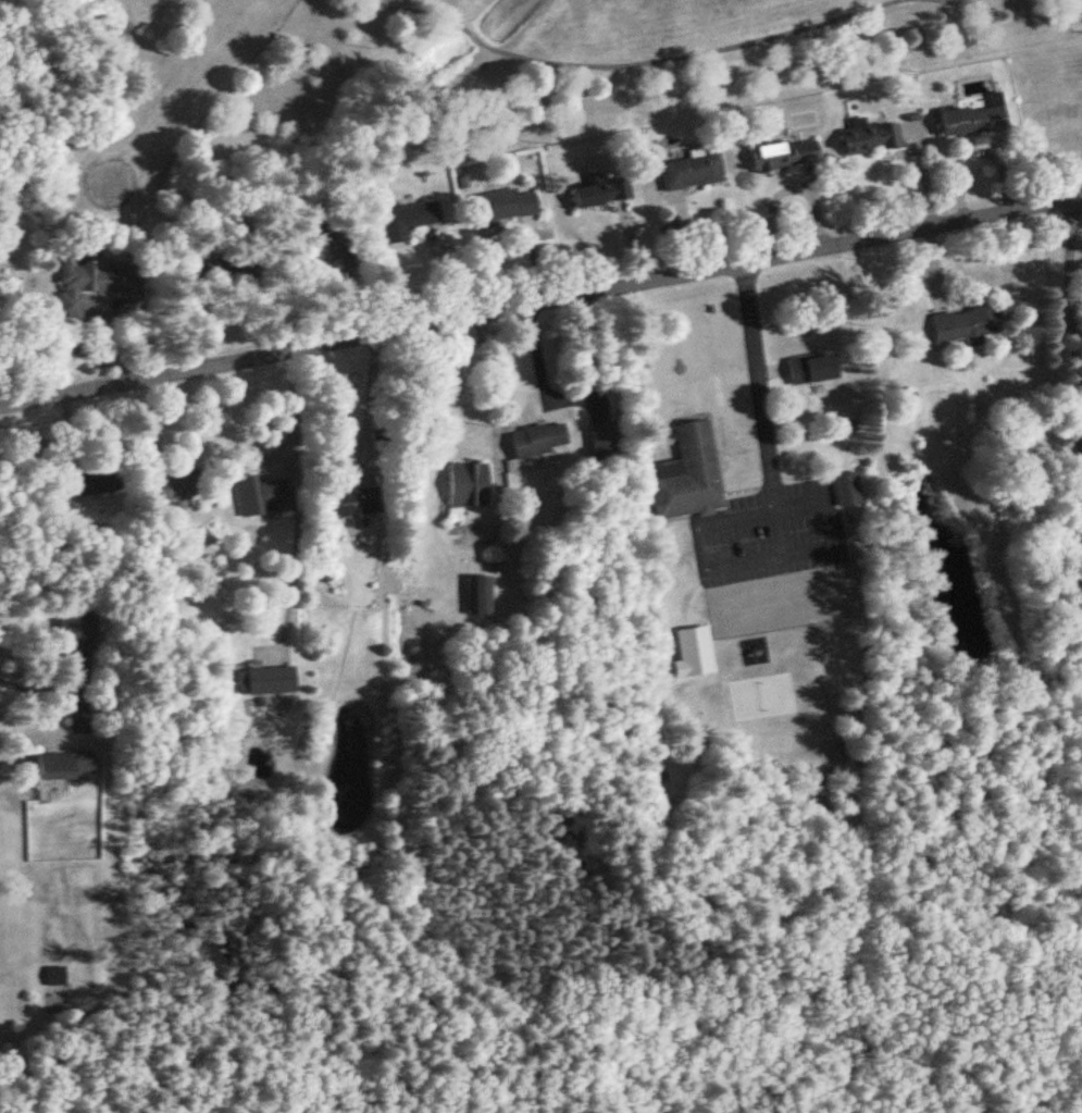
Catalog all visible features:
park: (430, 83)
building: (975, 116)
building: (871, 138)
building: (785, 156)
building: (692, 173)
building: (602, 194)
building: (505, 207)
building: (407, 221)
building: (324, 250)
building: (212, 269)
building: (88, 284)
road: (540, 300)
road: (1072, 309)
building: (968, 325)
building: (812, 370)
road: (754, 384)
road: (366, 403)
road: (490, 404)
road: (291, 412)
building: (538, 441)
building: (604, 441)
building: (689, 478)
building: (87, 484)
building: (469, 485)
building: (847, 490)
building: (170, 491)
building: (259, 494)
building: (351, 507)
building: (73, 633)
building: (268, 681)
road: (30, 687)
building: (64, 767)

